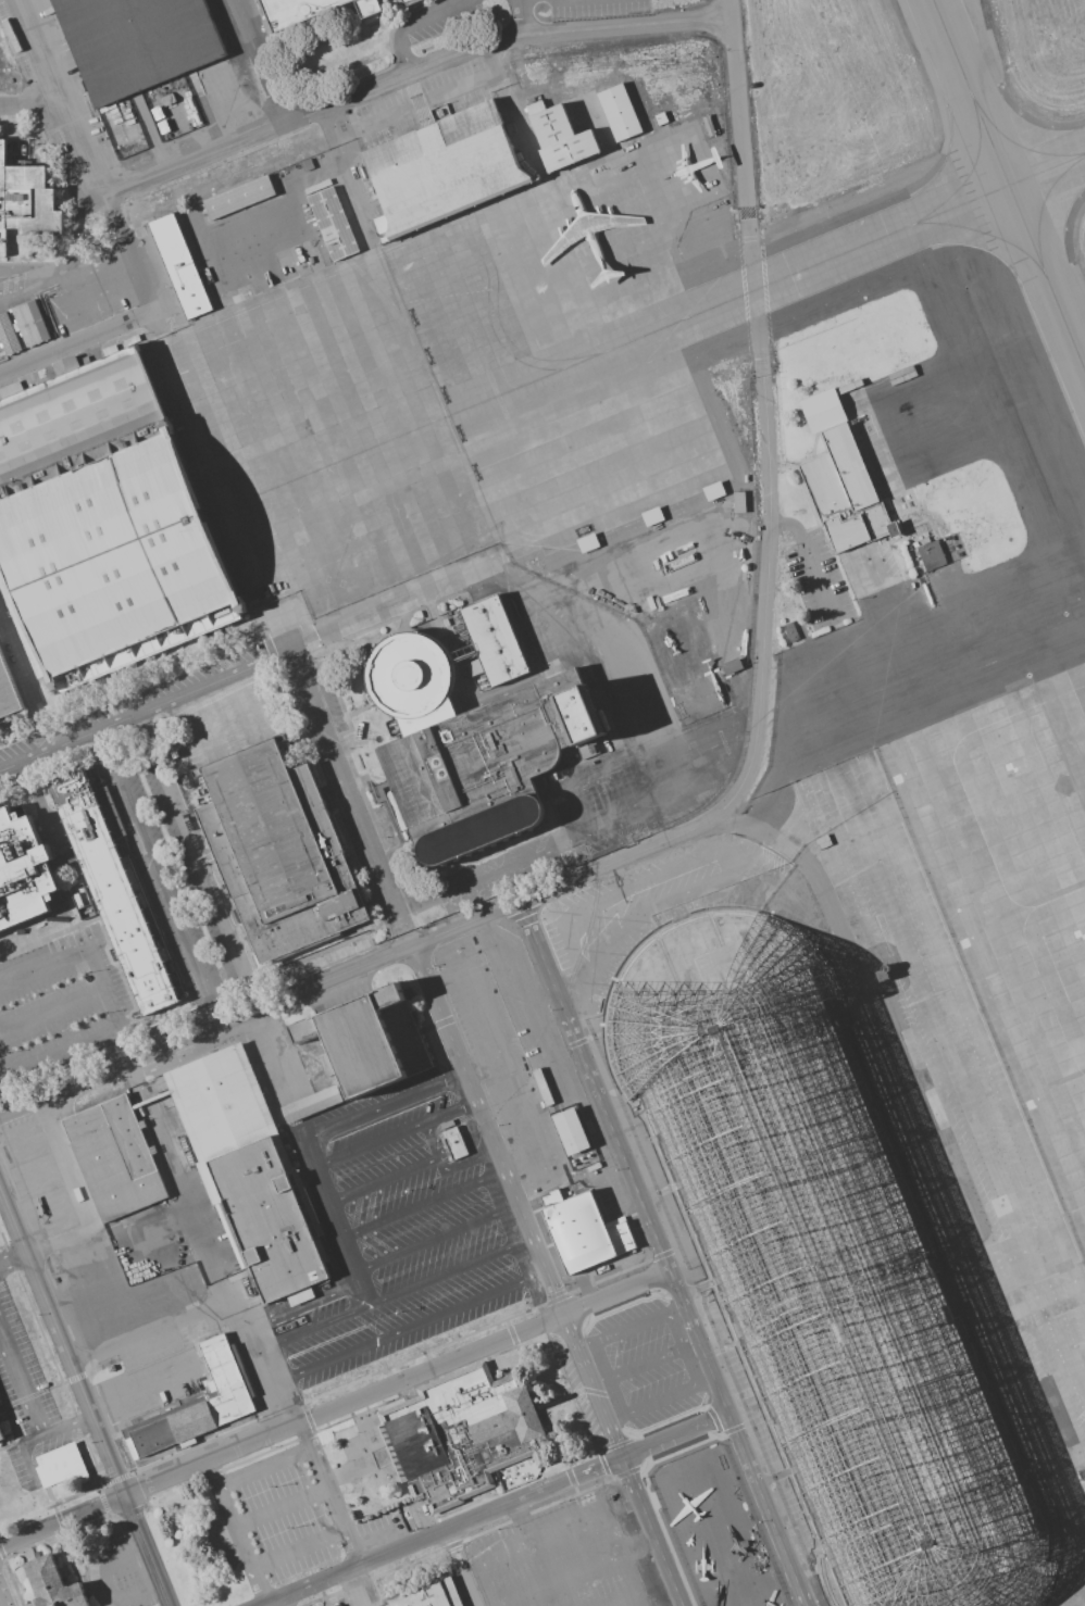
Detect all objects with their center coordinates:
building: (400, 0)
building: (410, 0)
building: (371, 7)
building: (295, 9)
road: (521, 18)
road: (407, 23)
building: (135, 38)
airport taxiway: (964, 51)
road: (263, 62)
road: (412, 78)
road: (738, 103)
building: (618, 106)
road: (30, 109)
building: (559, 133)
road: (82, 160)
building: (444, 168)
airport taxiway: (1009, 184)
building: (26, 191)
building: (238, 198)
building: (334, 224)
airport taxiway: (890, 236)
building: (178, 260)
road: (756, 288)
building: (23, 322)
road: (78, 348)
building: (70, 363)
airport apron: (460, 390)
building: (845, 482)
building: (712, 491)
building: (737, 502)
building: (104, 518)
building: (928, 556)
road: (769, 584)
road: (627, 632)
building: (789, 633)
building: (492, 638)
road: (237, 669)
road: (18, 672)
building: (8, 690)
road: (244, 699)
road: (195, 718)
building: (474, 743)
road: (353, 796)
airport: (962, 823)
building: (279, 845)
road: (538, 851)
building: (25, 868)
building: (117, 888)
road: (167, 899)
road: (87, 953)
road: (373, 962)
building: (882, 974)
road: (25, 1020)
building: (367, 1034)
road: (500, 1059)
road: (2, 1064)
road: (265, 1083)
building: (542, 1088)
building: (310, 1103)
road: (385, 1106)
building: (569, 1130)
road: (396, 1132)
airport apron: (882, 1139)
building: (456, 1143)
road: (927, 1151)
building: (110, 1152)
road: (445, 1168)
building: (248, 1169)
road: (382, 1180)
road: (425, 1203)
road: (332, 1204)
building: (576, 1228)
road: (439, 1237)
road: (665, 1254)
road: (13, 1258)
airport hangar: (824, 1267)
building: (824, 1267)
road: (549, 1276)
road: (362, 1288)
road: (396, 1293)
road: (307, 1302)
road: (213, 1309)
road: (409, 1327)
road: (62, 1341)
parking lot: (26, 1355)
building: (109, 1368)
road: (399, 1383)
building: (199, 1403)
parking lot: (12, 1407)
road: (33, 1407)
building: (461, 1430)
building: (1, 1438)
road: (25, 1452)
building: (59, 1461)
road: (265, 1467)
parking lot: (18, 1469)
building: (1082, 1473)
road: (331, 1494)
road: (282, 1505)
road: (494, 1510)
road: (62, 1521)
road: (239, 1530)
road: (639, 1545)
road: (300, 1546)
road: (147, 1551)
road: (473, 1557)
road: (459, 1568)
building: (54, 1581)
road: (633, 1581)
road: (352, 1589)
building: (429, 1592)
building: (334, 1604)
road: (0, 1605)

